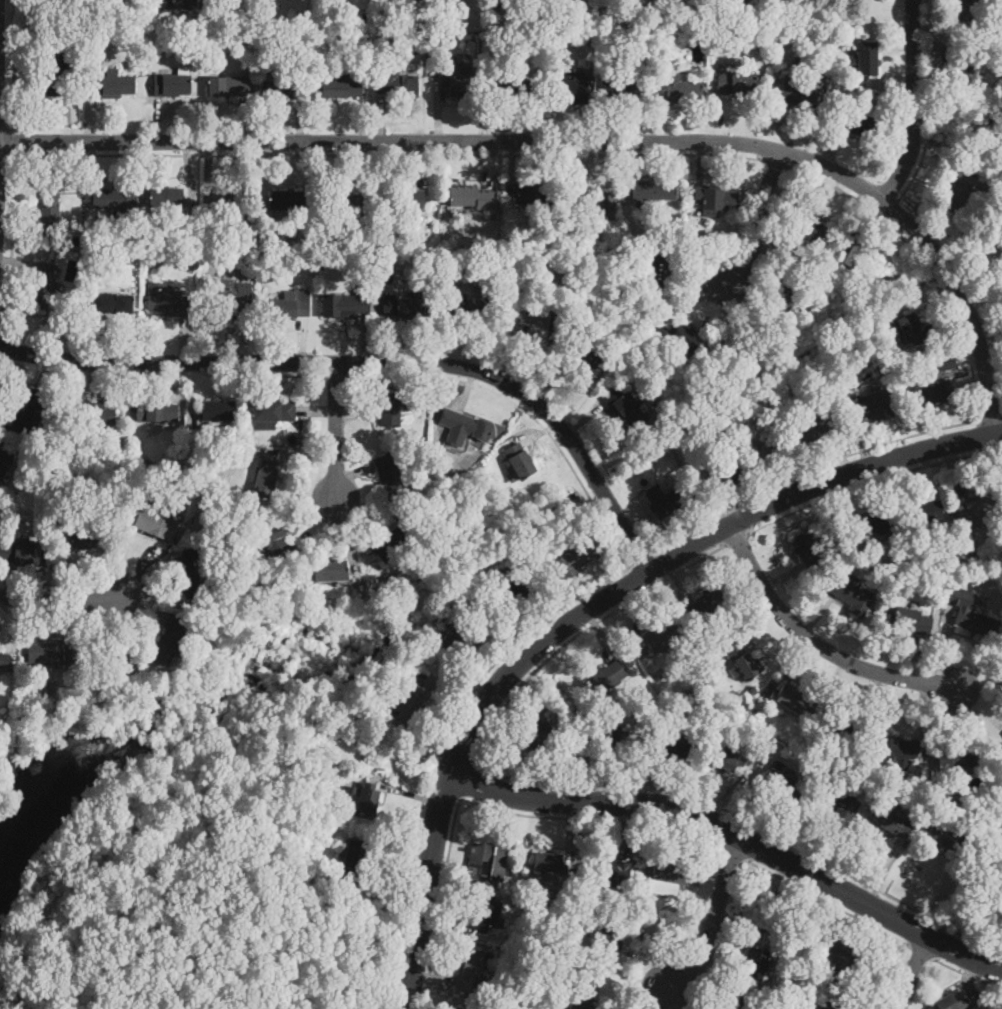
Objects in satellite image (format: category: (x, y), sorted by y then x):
building: (163, 0)
building: (419, 0)
building: (447, 3)
building: (185, 4)
building: (495, 4)
building: (966, 9)
building: (838, 13)
building: (612, 15)
building: (766, 18)
building: (307, 21)
building: (441, 23)
building: (450, 24)
building: (496, 24)
building: (597, 26)
building: (55, 35)
building: (419, 37)
building: (432, 37)
building: (240, 39)
building: (97, 40)
building: (263, 41)
building: (1001, 41)
building: (75, 43)
building: (818, 52)
building: (867, 58)
building: (802, 63)
road: (14, 64)
building: (968, 69)
building: (52, 72)
building: (734, 80)
building: (342, 82)
building: (395, 82)
building: (459, 83)
building: (113, 85)
building: (171, 85)
building: (227, 86)
building: (505, 87)
building: (282, 89)
building: (570, 89)
building: (622, 89)
building: (679, 89)
building: (796, 92)
road: (914, 103)
road: (930, 103)
building: (854, 123)
building: (992, 133)
road: (580, 140)
road: (14, 141)
road: (387, 154)
road: (774, 163)
building: (960, 188)
building: (651, 190)
building: (534, 193)
building: (714, 196)
building: (165, 197)
building: (115, 198)
building: (471, 198)
building: (237, 200)
building: (290, 200)
building: (406, 200)
building: (586, 200)
building: (349, 206)
road: (890, 208)
building: (49, 213)
road: (759, 218)
building: (679, 222)
building: (805, 229)
road: (13, 238)
building: (543, 239)
building: (309, 241)
building: (184, 243)
building: (850, 251)
building: (467, 261)
building: (497, 261)
road: (923, 262)
building: (659, 269)
building: (439, 271)
building: (387, 277)
building: (44, 285)
building: (125, 290)
building: (227, 298)
building: (111, 303)
building: (169, 303)
building: (779, 303)
building: (292, 305)
building: (343, 305)
building: (635, 305)
building: (469, 306)
building: (402, 307)
building: (64, 316)
building: (530, 322)
building: (914, 329)
building: (579, 333)
building: (675, 338)
building: (738, 349)
building: (587, 358)
road: (374, 362)
building: (946, 362)
road: (46, 373)
road: (336, 375)
road: (386, 375)
road: (162, 376)
road: (87, 381)
road: (133, 385)
road: (468, 390)
building: (654, 393)
building: (934, 393)
road: (189, 397)
building: (391, 407)
building: (624, 407)
building: (870, 408)
road: (525, 409)
building: (219, 410)
building: (273, 410)
road: (317, 410)
building: (157, 411)
building: (27, 414)
building: (61, 414)
building: (96, 414)
road: (990, 418)
building: (817, 424)
building: (463, 427)
road: (336, 431)
road: (539, 432)
building: (248, 438)
building: (770, 451)
road: (302, 453)
building: (6, 454)
building: (519, 460)
road: (808, 469)
building: (727, 470)
road: (353, 472)
building: (390, 474)
building: (263, 477)
building: (460, 477)
road: (871, 480)
building: (665, 500)
building: (221, 503)
road: (369, 511)
building: (977, 511)
building: (925, 512)
road: (316, 522)
building: (874, 522)
building: (155, 523)
building: (47, 527)
road: (344, 533)
building: (83, 536)
road: (736, 539)
building: (277, 541)
building: (389, 544)
building: (970, 549)
building: (808, 550)
building: (23, 553)
building: (900, 553)
building: (951, 553)
road: (125, 555)
road: (641, 556)
building: (575, 559)
building: (870, 563)
building: (330, 571)
road: (102, 572)
road: (639, 573)
building: (189, 574)
road: (607, 576)
road: (37, 585)
road: (649, 586)
building: (513, 589)
road: (158, 597)
building: (852, 597)
road: (58, 598)
building: (708, 604)
road: (552, 606)
road: (586, 611)
road: (87, 612)
building: (970, 612)
road: (135, 615)
road: (66, 619)
road: (628, 621)
building: (911, 621)
road: (13, 625)
road: (578, 632)
road: (602, 633)
building: (663, 638)
building: (170, 640)
building: (460, 640)
road: (816, 641)
building: (50, 653)
building: (119, 659)
building: (742, 660)
building: (4, 661)
building: (697, 669)
road: (473, 671)
building: (608, 676)
building: (750, 691)
road: (448, 693)
building: (795, 702)
building: (406, 705)
building: (536, 732)
building: (844, 732)
building: (747, 736)
building: (605, 737)
building: (670, 743)
road: (441, 745)
building: (896, 749)
road: (455, 756)
building: (726, 758)
building: (955, 759)
building: (848, 765)
building: (834, 768)
road: (557, 774)
road: (466, 780)
building: (781, 782)
building: (926, 791)
road: (410, 795)
building: (367, 799)
building: (839, 804)
road: (592, 818)
road: (747, 820)
building: (889, 822)
road: (624, 829)
road: (567, 830)
road: (736, 835)
building: (948, 836)
building: (994, 842)
park: (178, 846)
road: (734, 851)
building: (355, 860)
building: (486, 862)
building: (549, 862)
road: (444, 864)
building: (511, 873)
building: (612, 873)
building: (667, 879)
road: (707, 881)
road: (56, 897)
road: (386, 900)
road: (829, 902)
road: (440, 903)
building: (765, 904)
road: (444, 909)
building: (484, 914)
road: (735, 914)
road: (714, 921)
building: (609, 938)
road: (923, 951)
building: (840, 956)
building: (755, 963)
road: (644, 967)
building: (469, 971)
road: (724, 971)
road: (912, 971)
road: (968, 973)
road: (433, 976)
road: (969, 977)
building: (819, 981)
road: (631, 986)
building: (583, 991)
building: (811, 992)
road: (706, 995)
road: (662, 998)
road: (673, 998)
building: (36, 1000)
building: (950, 1001)
building: (838, 1004)
building: (459, 1008)

